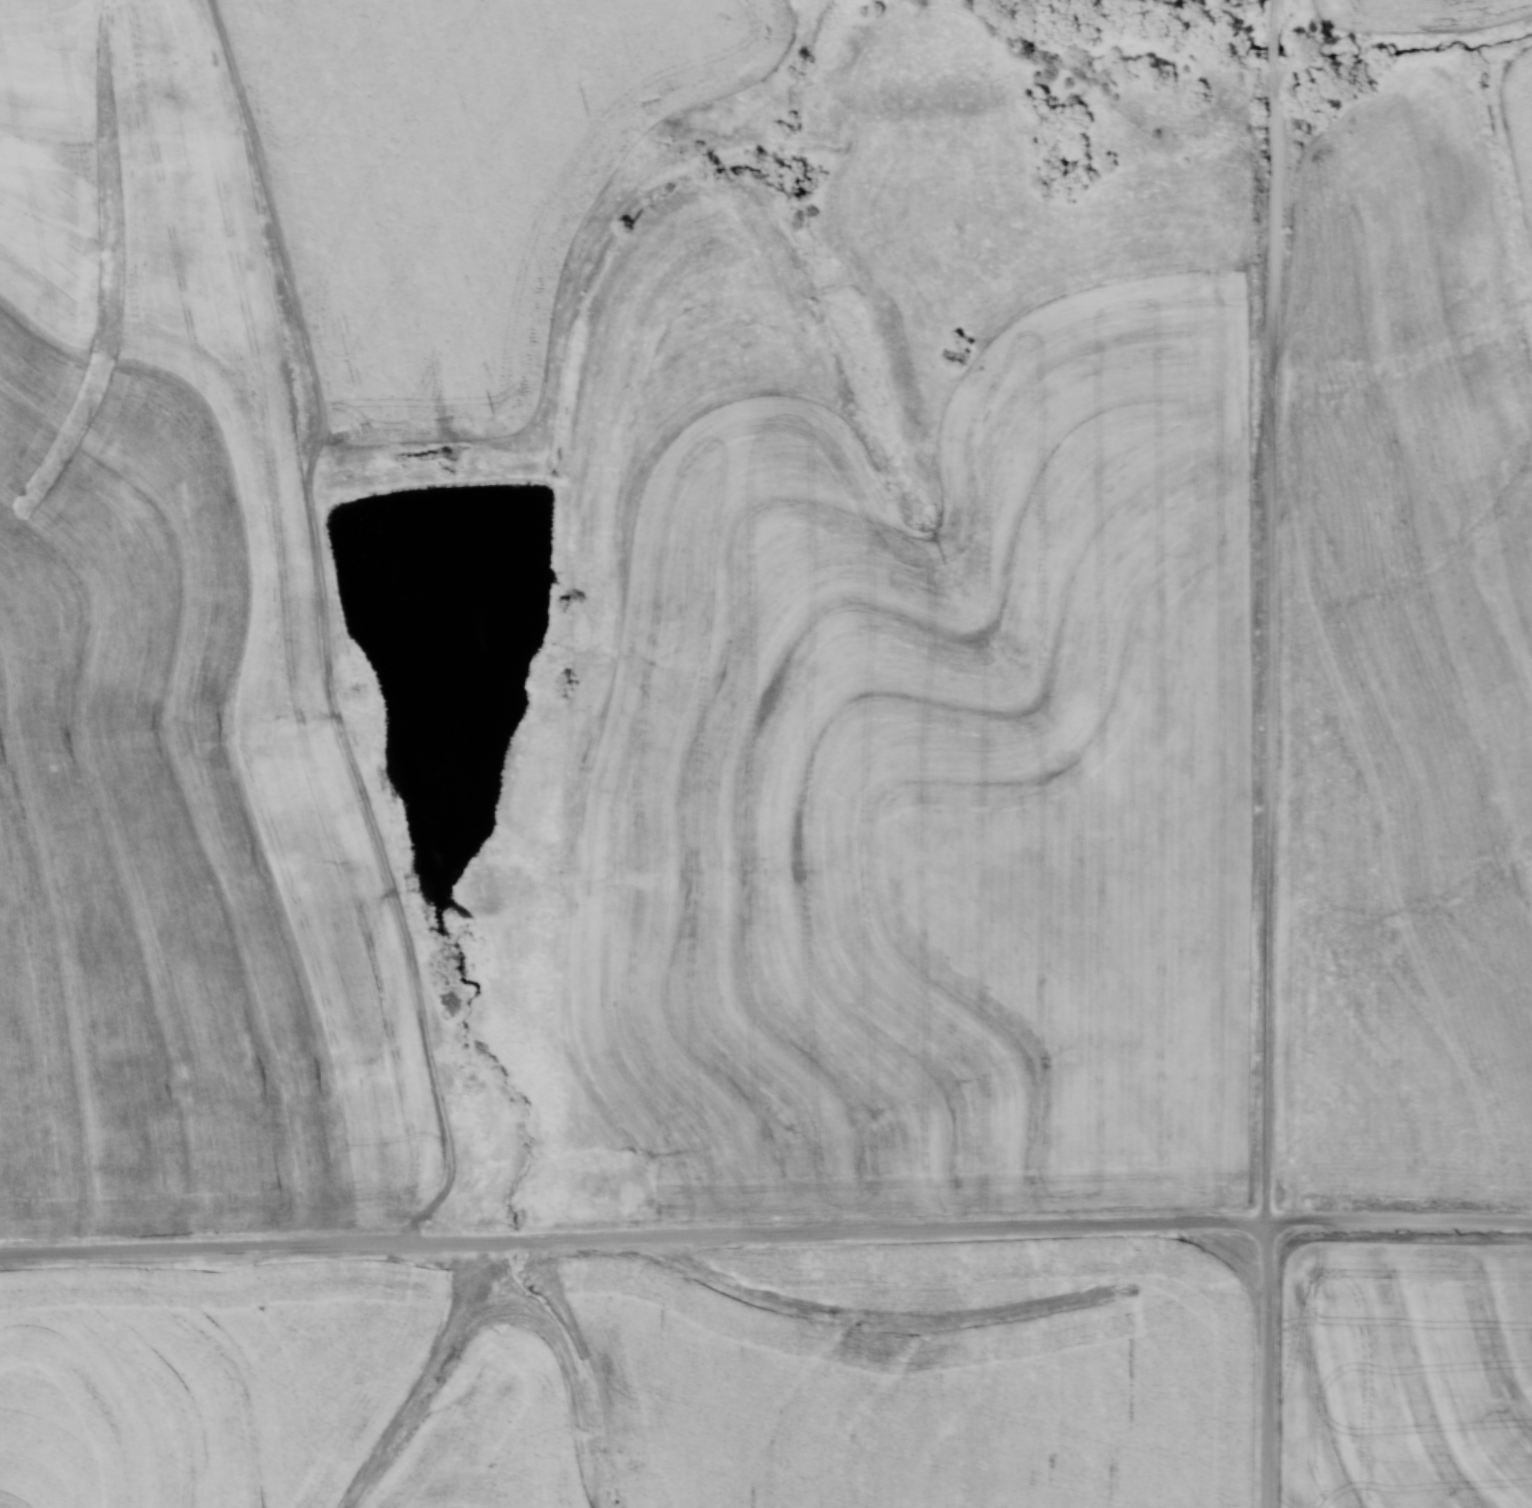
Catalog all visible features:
road: (1274, 753)
road: (765, 1237)

